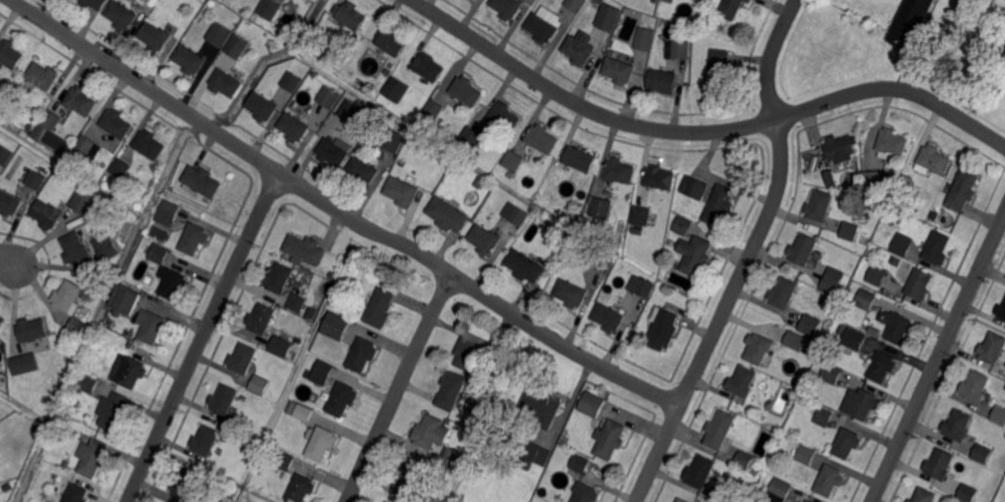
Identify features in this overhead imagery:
building: (749, 1)
building: (94, 3)
building: (574, 4)
building: (614, 7)
building: (269, 8)
building: (508, 8)
building: (731, 8)
building: (121, 15)
building: (351, 17)
building: (910, 22)
building: (543, 25)
building: (699, 25)
building: (219, 34)
building: (154, 37)
building: (644, 39)
building: (391, 43)
building: (237, 45)
building: (681, 49)
building: (578, 50)
building: (343, 52)
building: (10, 54)
building: (189, 59)
building: (428, 67)
building: (720, 68)
building: (387, 71)
building: (618, 71)
building: (43, 75)
building: (312, 75)
building: (662, 80)
building: (290, 81)
building: (225, 82)
building: (395, 90)
building: (466, 90)
building: (326, 97)
building: (81, 100)
building: (261, 106)
building: (433, 108)
building: (349, 110)
building: (504, 116)
building: (47, 122)
building: (117, 123)
building: (291, 127)
road: (702, 131)
building: (360, 133)
building: (541, 138)
building: (471, 139)
building: (393, 140)
building: (892, 141)
building: (149, 144)
building: (840, 147)
building: (88, 149)
building: (332, 152)
building: (4, 155)
building: (579, 158)
building: (513, 160)
building: (933, 160)
building: (15, 162)
building: (402, 162)
building: (118, 170)
building: (362, 171)
building: (619, 171)
building: (659, 177)
building: (481, 178)
building: (34, 179)
building: (810, 179)
building: (830, 179)
building: (874, 179)
building: (201, 181)
building: (906, 184)
building: (694, 187)
building: (963, 190)
building: (401, 191)
building: (840, 199)
building: (852, 200)
building: (9, 202)
building: (83, 203)
building: (580, 205)
building: (820, 205)
building: (719, 206)
building: (601, 207)
building: (694, 212)
building: (167, 213)
road: (340, 213)
building: (515, 213)
building: (934, 213)
building: (48, 214)
building: (447, 215)
building: (641, 215)
building: (92, 224)
building: (683, 225)
building: (849, 230)
building: (193, 238)
building: (485, 239)
building: (902, 244)
building: (937, 247)
building: (75, 248)
building: (803, 248)
building: (108, 249)
building: (305, 249)
building: (158, 254)
building: (695, 255)
road: (749, 256)
road: (8, 260)
building: (602, 260)
building: (526, 266)
building: (873, 274)
building: (332, 277)
building: (279, 278)
building: (359, 280)
building: (832, 280)
building: (919, 283)
building: (171, 284)
building: (642, 286)
building: (572, 293)
building: (783, 293)
building: (67, 295)
building: (865, 298)
building: (127, 301)
building: (296, 303)
building: (381, 309)
building: (1001, 312)
building: (260, 317)
building: (609, 317)
building: (2, 321)
building: (108, 324)
building: (809, 324)
building: (897, 325)
building: (76, 327)
building: (151, 327)
building: (336, 327)
building: (663, 328)
building: (842, 328)
building: (32, 330)
road: (200, 337)
building: (795, 339)
building: (853, 339)
building: (298, 340)
building: (281, 345)
building: (319, 347)
building: (758, 347)
building: (993, 347)
building: (363, 354)
building: (468, 355)
road: (938, 357)
building: (242, 358)
building: (23, 364)
building: (882, 366)
building: (129, 370)
building: (503, 371)
building: (309, 372)
building: (324, 373)
building: (831, 374)
building: (743, 381)
building: (87, 382)
building: (259, 384)
building: (976, 387)
road: (399, 388)
building: (489, 388)
building: (452, 390)
building: (224, 399)
building: (342, 400)
building: (74, 402)
building: (592, 403)
building: (861, 404)
building: (292, 407)
building: (543, 407)
building: (114, 409)
building: (235, 411)
building: (304, 413)
building: (999, 415)
building: (824, 416)
building: (580, 418)
building: (958, 425)
building: (720, 429)
building: (432, 434)
building: (613, 441)
building: (847, 442)
building: (203, 444)
building: (322, 444)
building: (218, 451)
building: (983, 453)
building: (532, 455)
building: (805, 455)
building: (93, 456)
building: (745, 459)
building: (451, 460)
building: (285, 462)
building: (65, 464)
building: (581, 464)
building: (940, 465)
building: (701, 471)
building: (408, 476)
building: (830, 480)
building: (185, 483)
building: (301, 488)
building: (779, 490)
building: (587, 492)
building: (77, 493)
building: (967, 493)
building: (923, 496)
building: (725, 499)
building: (946, 499)
building: (682, 500)
building: (810, 500)
building: (388, 501)

